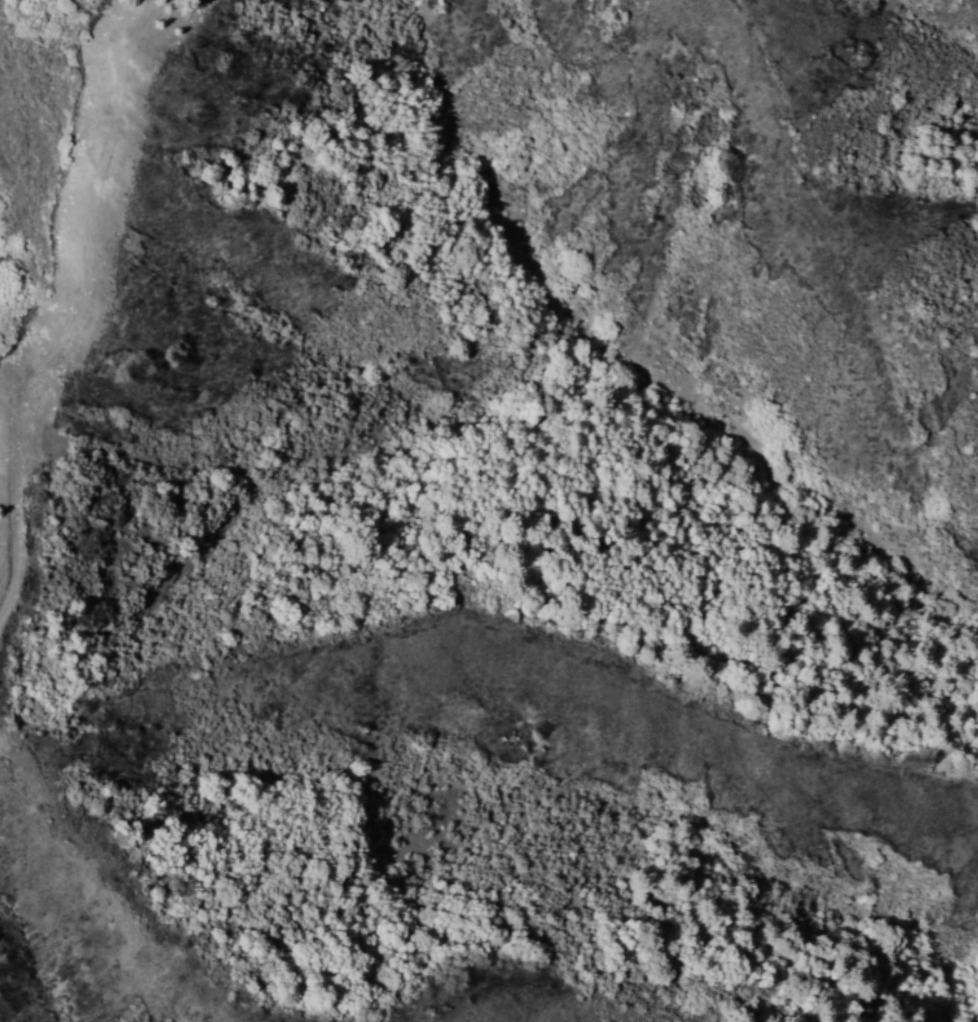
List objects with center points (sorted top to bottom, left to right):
road: (85, 289)

